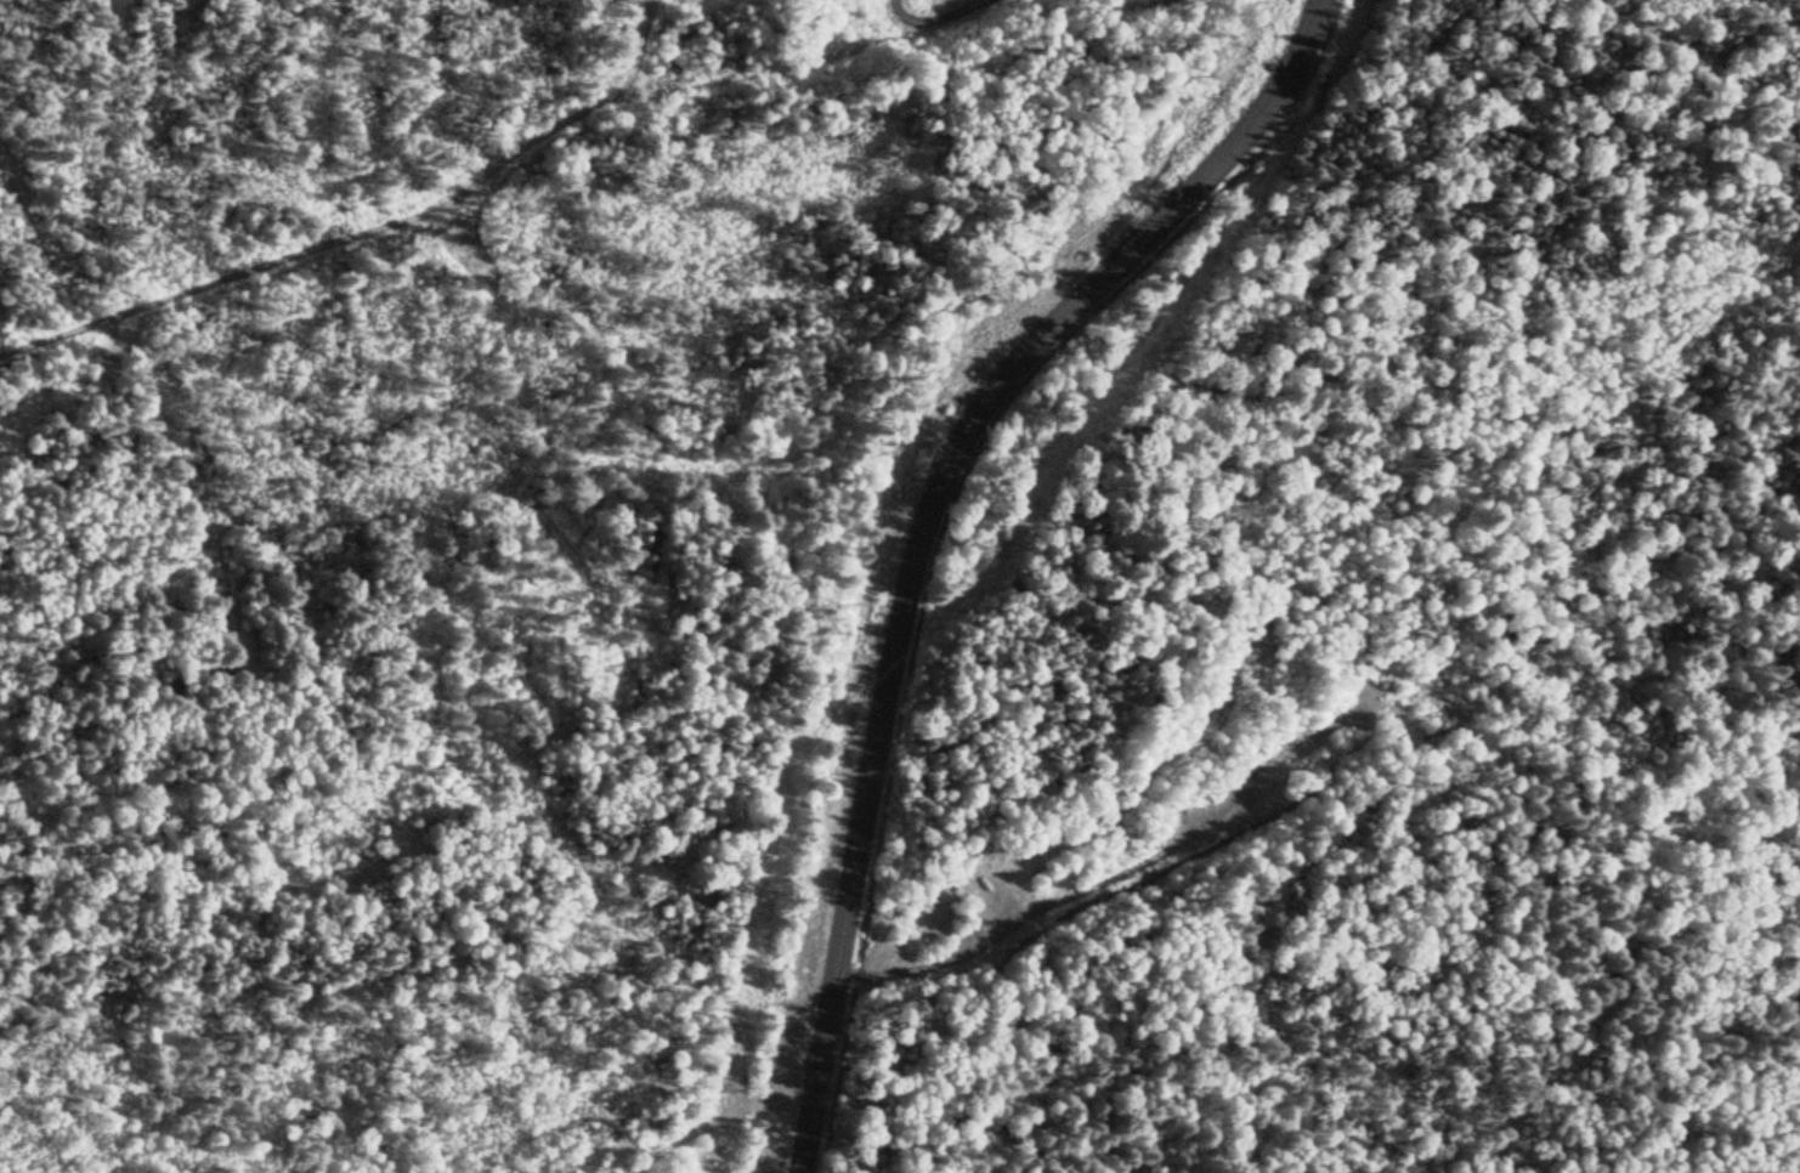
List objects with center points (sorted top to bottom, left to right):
road: (939, 28)
road: (437, 203)
road: (930, 522)

